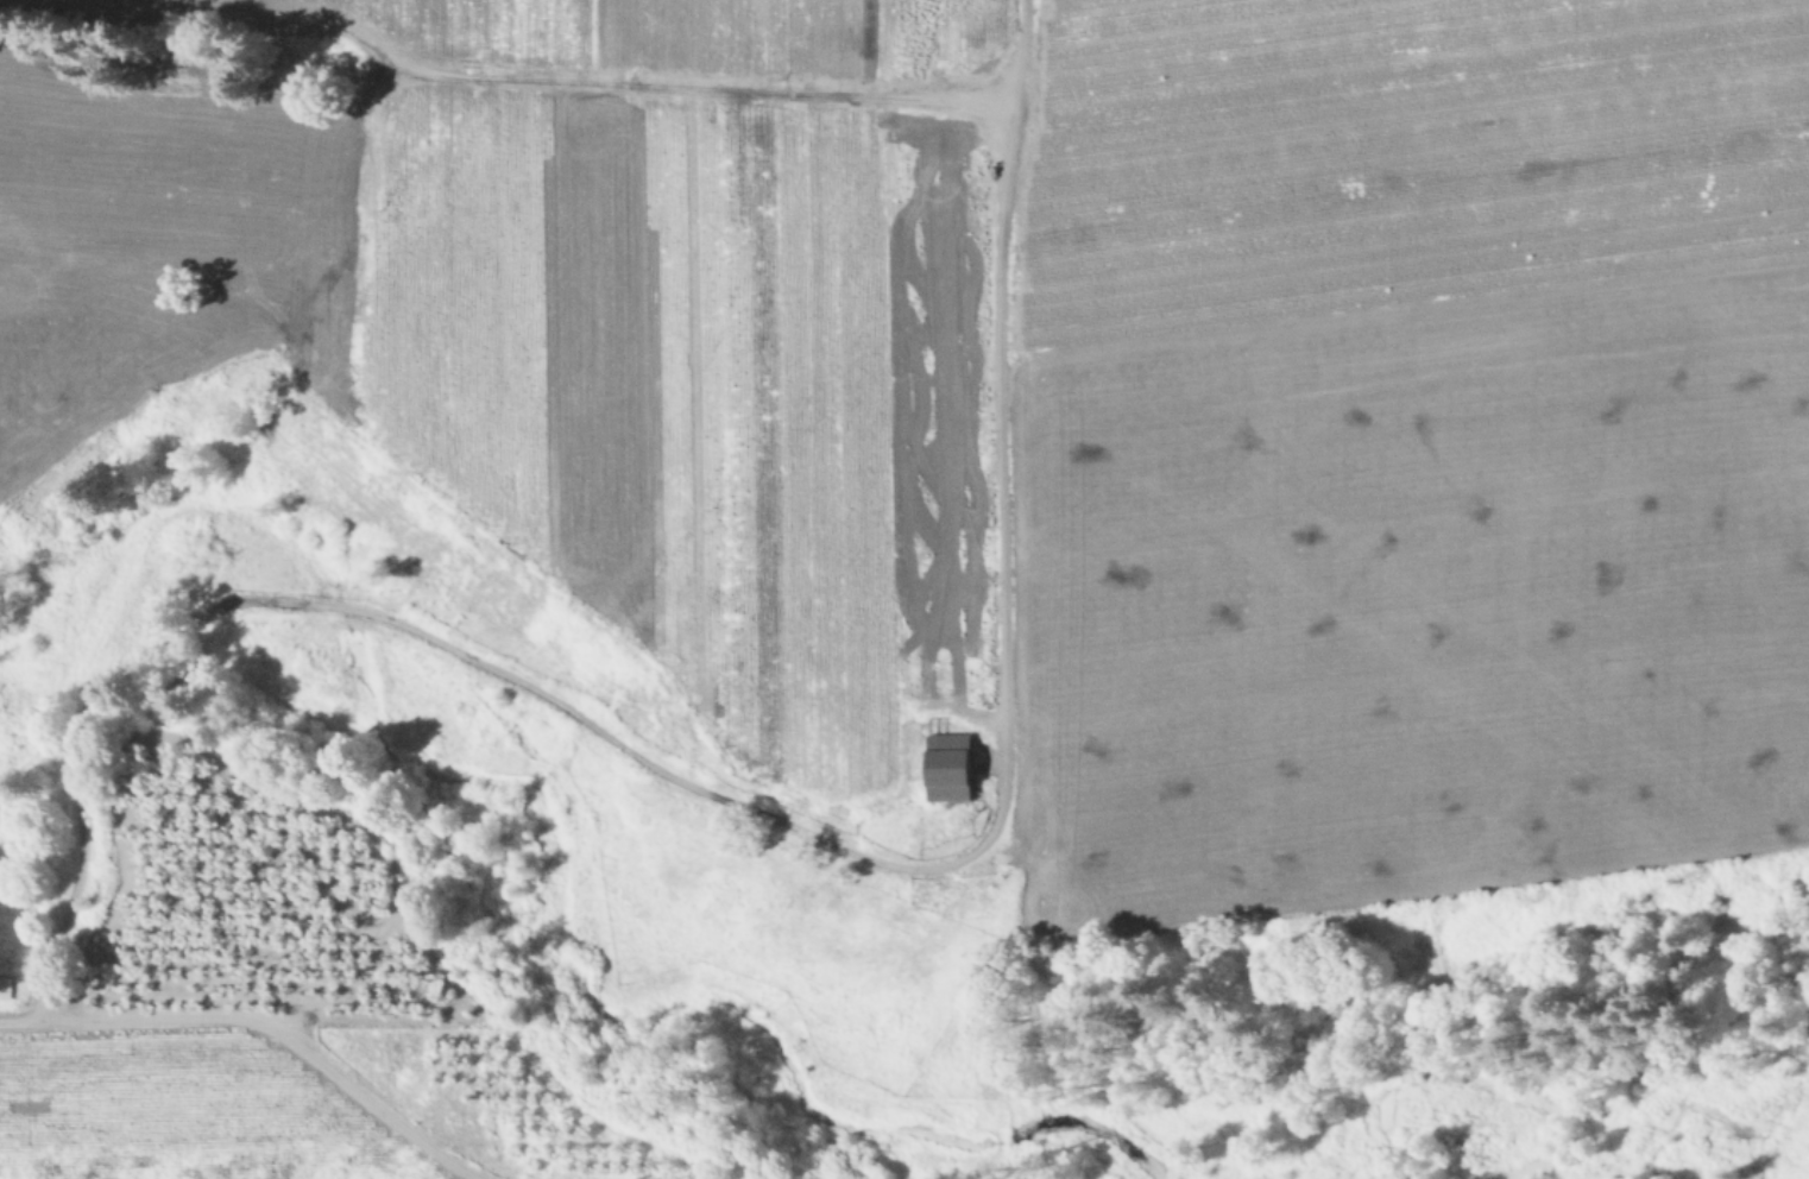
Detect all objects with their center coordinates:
building: (1775, 19)
building: (1519, 34)
road: (532, 82)
building: (1161, 86)
building: (1747, 172)
crop: (821, 308)
building: (953, 768)
road: (768, 818)
building: (6, 989)

